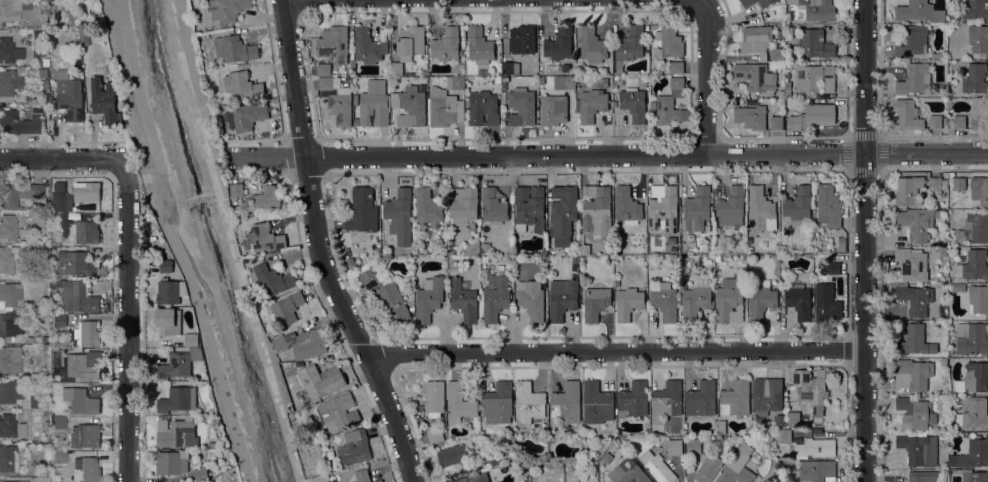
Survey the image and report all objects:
road: (316, 0)
building: (743, 1)
building: (765, 2)
building: (817, 9)
building: (975, 9)
building: (9, 10)
building: (228, 10)
building: (919, 11)
building: (68, 14)
building: (44, 21)
building: (83, 34)
building: (522, 39)
building: (755, 39)
building: (978, 39)
building: (668, 41)
building: (912, 41)
building: (410, 42)
building: (38, 43)
building: (333, 44)
building: (559, 44)
building: (815, 44)
building: (446, 45)
building: (591, 45)
building: (368, 46)
building: (479, 46)
building: (629, 46)
building: (235, 49)
building: (9, 51)
building: (777, 54)
building: (936, 56)
building: (46, 62)
building: (352, 64)
building: (676, 67)
building: (396, 68)
building: (510, 68)
building: (566, 68)
building: (324, 69)
building: (207, 71)
building: (42, 72)
building: (481, 72)
building: (755, 77)
road: (709, 78)
building: (814, 78)
road: (865, 78)
building: (541, 79)
building: (498, 80)
building: (505, 80)
building: (914, 80)
building: (975, 80)
building: (621, 81)
building: (45, 82)
building: (564, 82)
building: (455, 83)
building: (8, 84)
building: (238, 84)
building: (787, 85)
building: (787, 92)
building: (69, 95)
building: (104, 99)
building: (337, 100)
building: (633, 103)
building: (670, 103)
building: (413, 104)
building: (522, 104)
building: (592, 105)
building: (444, 107)
building: (483, 108)
building: (372, 109)
building: (553, 110)
building: (979, 113)
building: (908, 115)
building: (246, 116)
building: (751, 117)
building: (813, 117)
building: (776, 122)
building: (935, 122)
building: (18, 123)
building: (957, 124)
road: (926, 156)
road: (547, 157)
road: (64, 161)
building: (958, 184)
building: (937, 185)
building: (237, 190)
building: (979, 190)
building: (909, 191)
building: (87, 192)
building: (18, 194)
building: (60, 198)
building: (266, 199)
building: (463, 204)
building: (797, 204)
building: (493, 206)
building: (627, 206)
building: (828, 206)
building: (427, 208)
building: (529, 208)
building: (237, 209)
building: (731, 209)
building: (362, 210)
building: (696, 210)
building: (760, 210)
building: (664, 211)
building: (596, 213)
building: (564, 215)
building: (399, 216)
building: (59, 218)
building: (917, 223)
building: (27, 226)
building: (8, 228)
building: (974, 229)
building: (85, 230)
building: (265, 238)
road: (175, 243)
building: (710, 244)
road: (324, 248)
building: (472, 248)
building: (485, 248)
building: (663, 248)
building: (41, 249)
building: (53, 249)
building: (585, 249)
building: (782, 249)
building: (838, 249)
building: (158, 250)
building: (942, 251)
building: (450, 252)
building: (543, 252)
building: (672, 256)
building: (7, 259)
building: (484, 259)
building: (575, 259)
building: (350, 263)
building: (75, 264)
building: (912, 264)
building: (819, 265)
building: (166, 266)
building: (973, 266)
building: (833, 267)
building: (273, 280)
building: (616, 283)
building: (57, 284)
building: (958, 287)
building: (172, 291)
building: (9, 295)
building: (385, 296)
building: (80, 297)
building: (495, 297)
building: (429, 298)
building: (463, 299)
building: (663, 299)
building: (915, 299)
building: (978, 299)
building: (531, 300)
building: (563, 300)
building: (762, 300)
building: (799, 300)
building: (695, 302)
building: (727, 302)
building: (595, 303)
building: (628, 303)
building: (827, 303)
building: (287, 309)
road: (865, 319)
building: (58, 320)
road: (128, 321)
building: (168, 321)
building: (10, 325)
building: (86, 334)
building: (971, 338)
building: (45, 339)
building: (191, 339)
building: (29, 340)
building: (914, 341)
building: (302, 343)
building: (46, 348)
road: (616, 350)
building: (196, 351)
building: (280, 356)
building: (10, 359)
building: (943, 362)
building: (298, 363)
building: (175, 365)
building: (80, 367)
building: (912, 374)
building: (973, 378)
building: (321, 380)
building: (21, 382)
building: (9, 392)
building: (812, 394)
building: (766, 395)
building: (434, 398)
building: (634, 398)
building: (177, 399)
building: (701, 399)
building: (735, 399)
building: (80, 401)
building: (666, 401)
building: (32, 402)
building: (528, 402)
building: (566, 402)
building: (498, 403)
building: (596, 403)
building: (459, 404)
building: (336, 410)
building: (915, 412)
building: (43, 413)
building: (974, 413)
building: (793, 417)
building: (779, 420)
building: (59, 422)
building: (10, 426)
building: (721, 428)
building: (176, 433)
building: (434, 435)
building: (783, 435)
building: (84, 436)
building: (211, 445)
building: (693, 446)
building: (674, 447)
building: (815, 447)
building: (354, 448)
building: (919, 449)
building: (71, 454)
building: (974, 454)
building: (453, 455)
building: (58, 456)
building: (8, 458)
building: (491, 458)
building: (171, 463)
building: (737, 466)
building: (658, 468)
building: (707, 468)
building: (87, 469)
building: (816, 470)
building: (40, 472)
building: (627, 472)
building: (200, 473)
building: (362, 475)
building: (923, 476)
building: (974, 476)
building: (474, 478)
building: (16, 481)
building: (377, 481)

